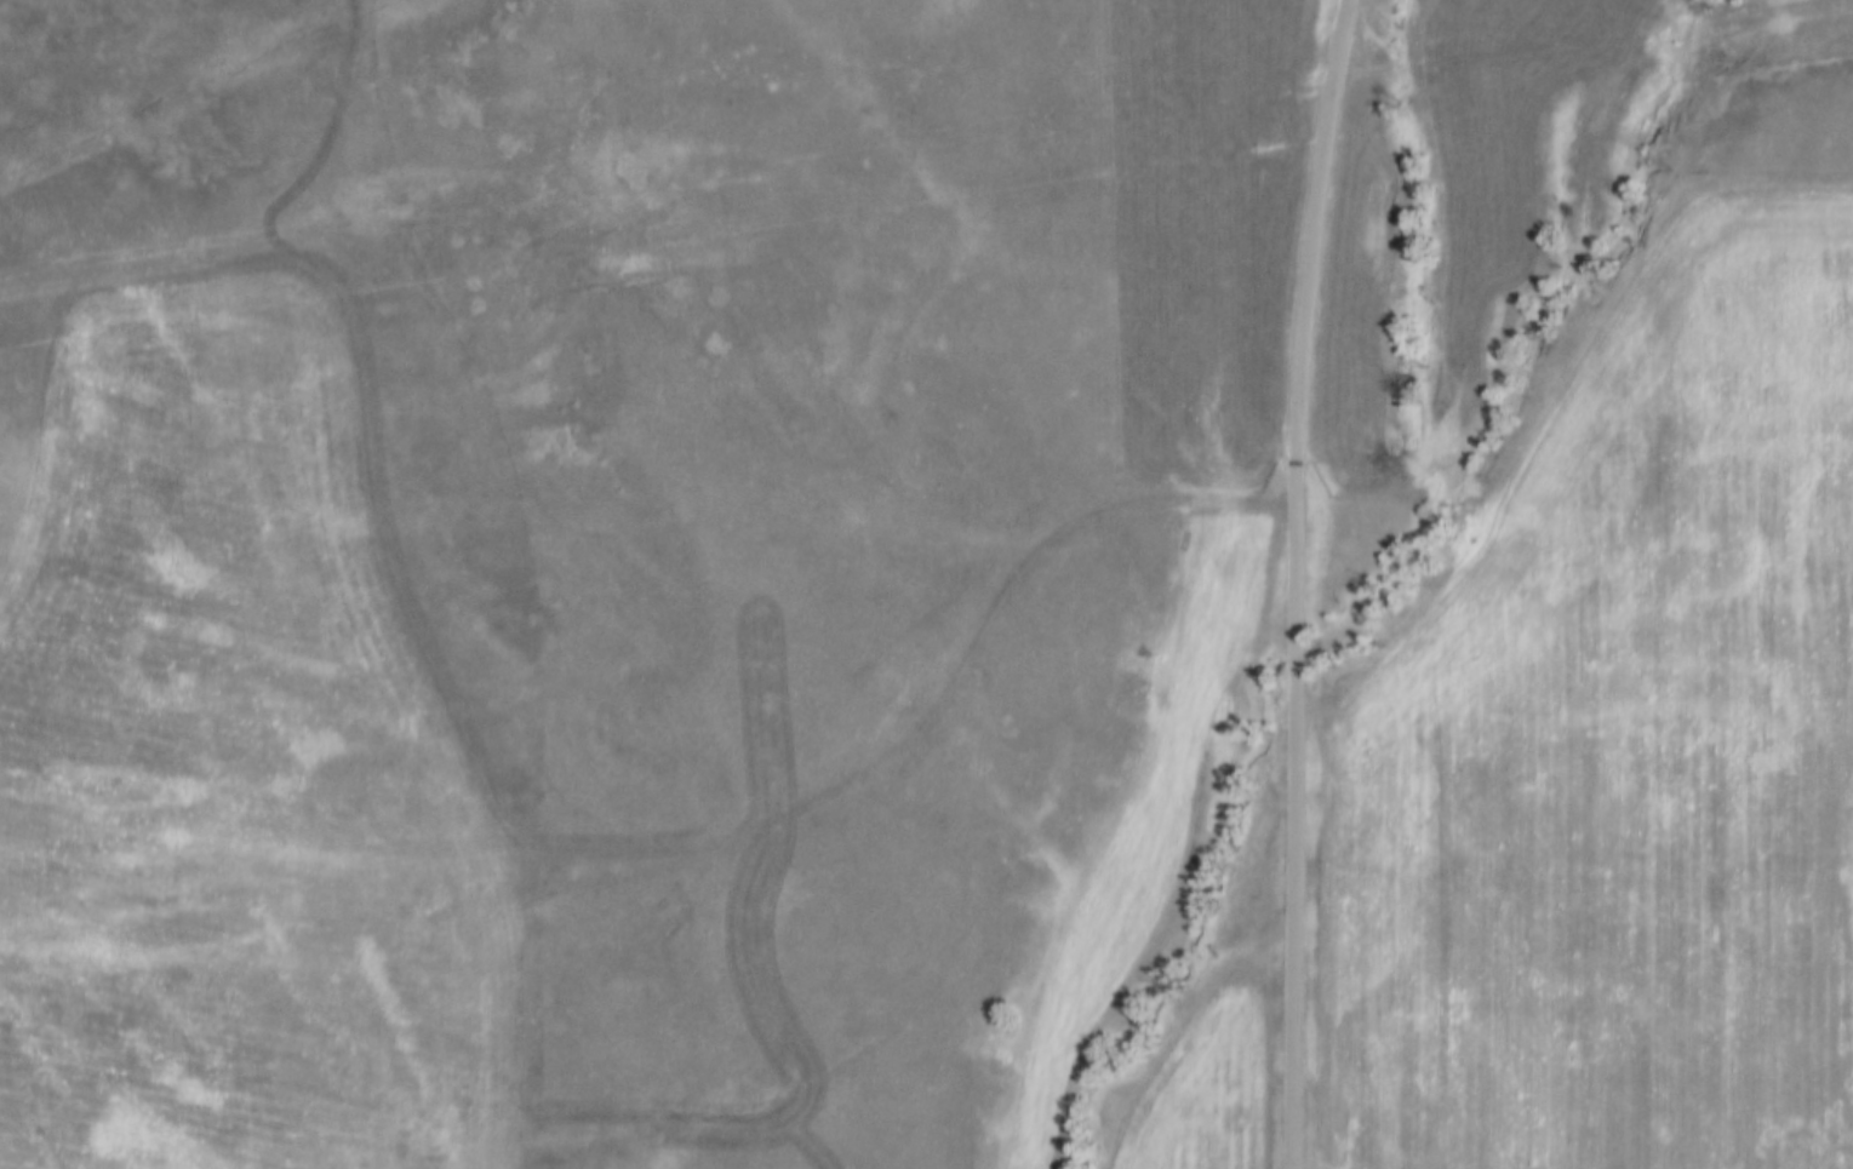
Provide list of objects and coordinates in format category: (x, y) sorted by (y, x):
road: (1296, 583)

